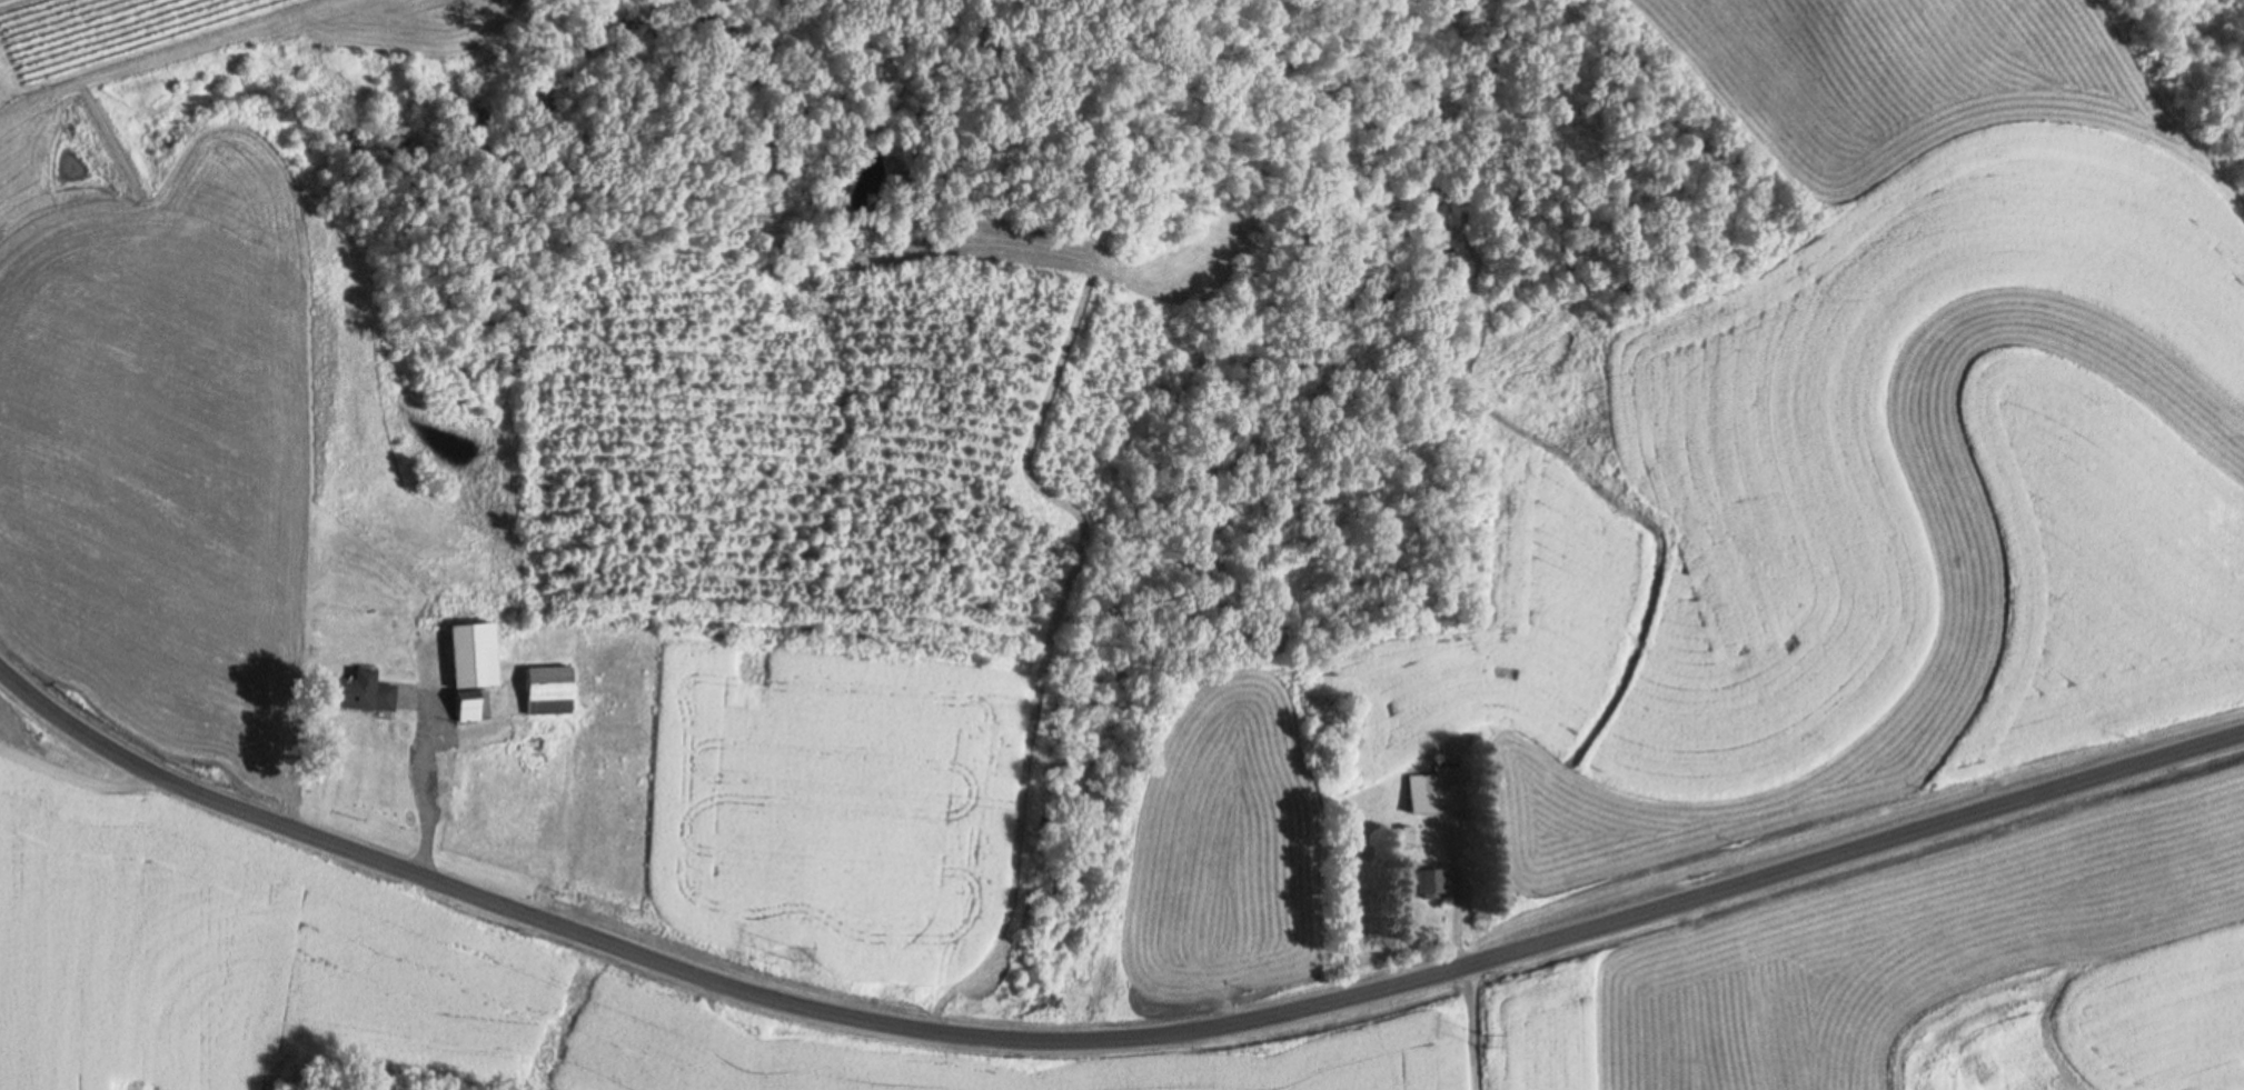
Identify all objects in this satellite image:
road: (924, 510)
building: (477, 668)
building: (553, 690)
building: (365, 691)
road: (80, 776)
building: (1442, 790)
building: (1432, 882)
power tower: (795, 953)
power tower: (1486, 1039)
road: (1111, 1040)

